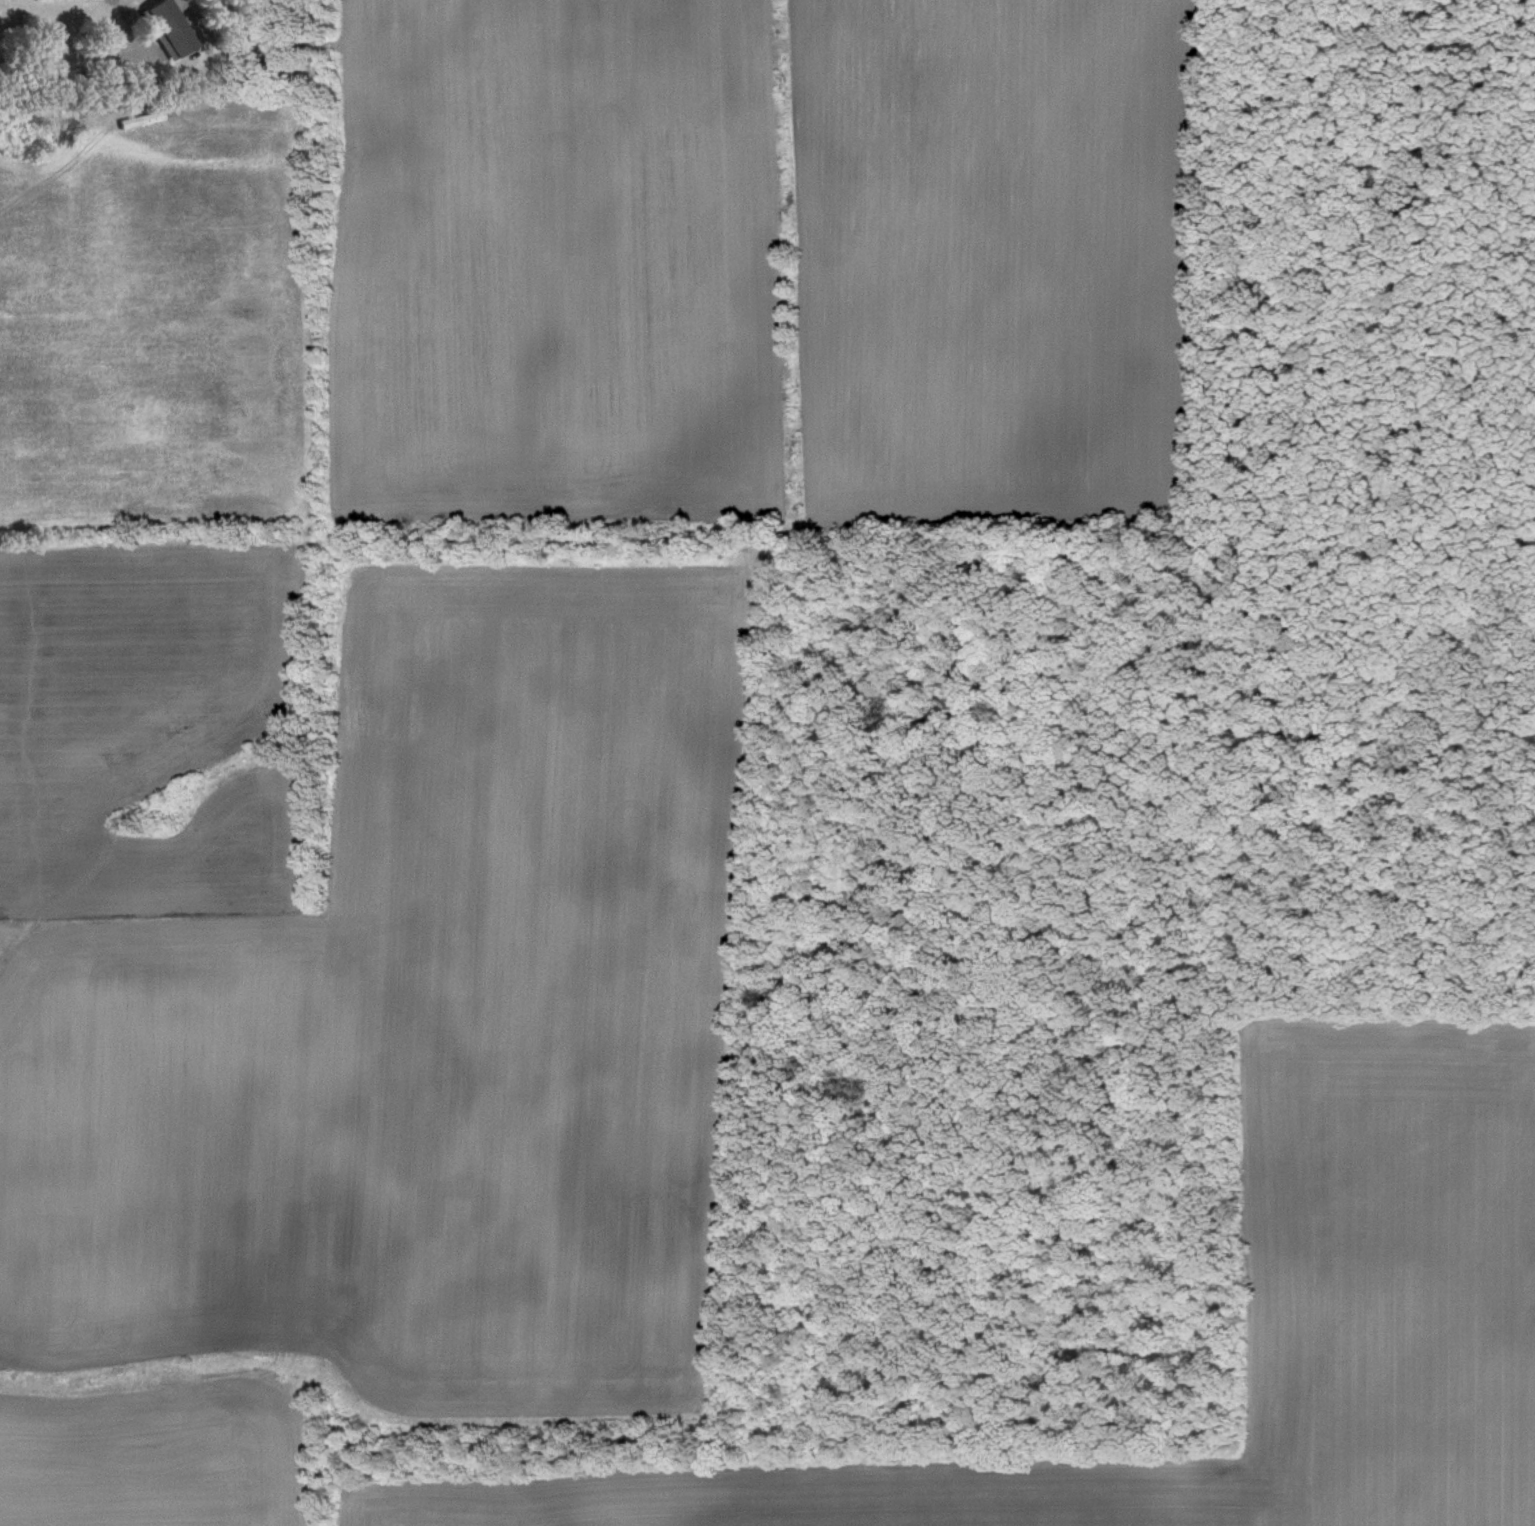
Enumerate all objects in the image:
road: (87, 59)

